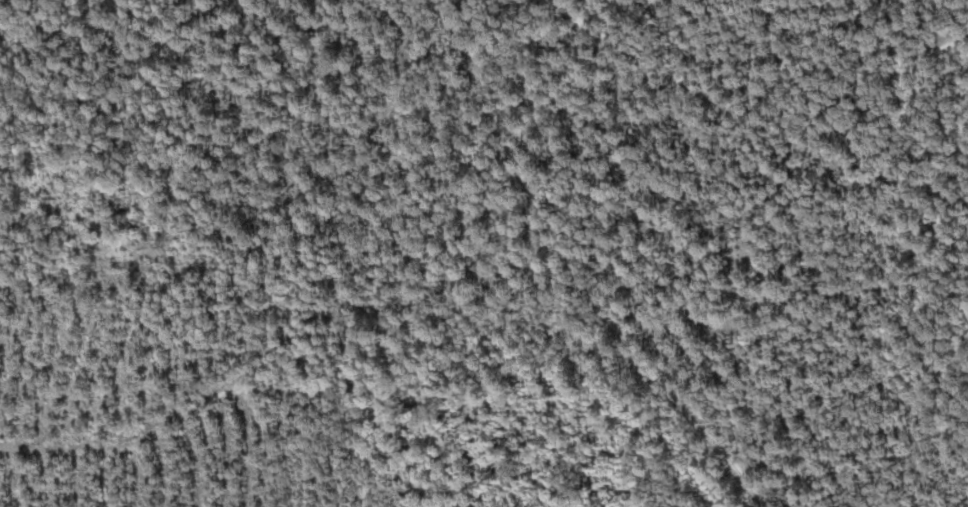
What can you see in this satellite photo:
road: (743, 116)
road: (578, 270)

